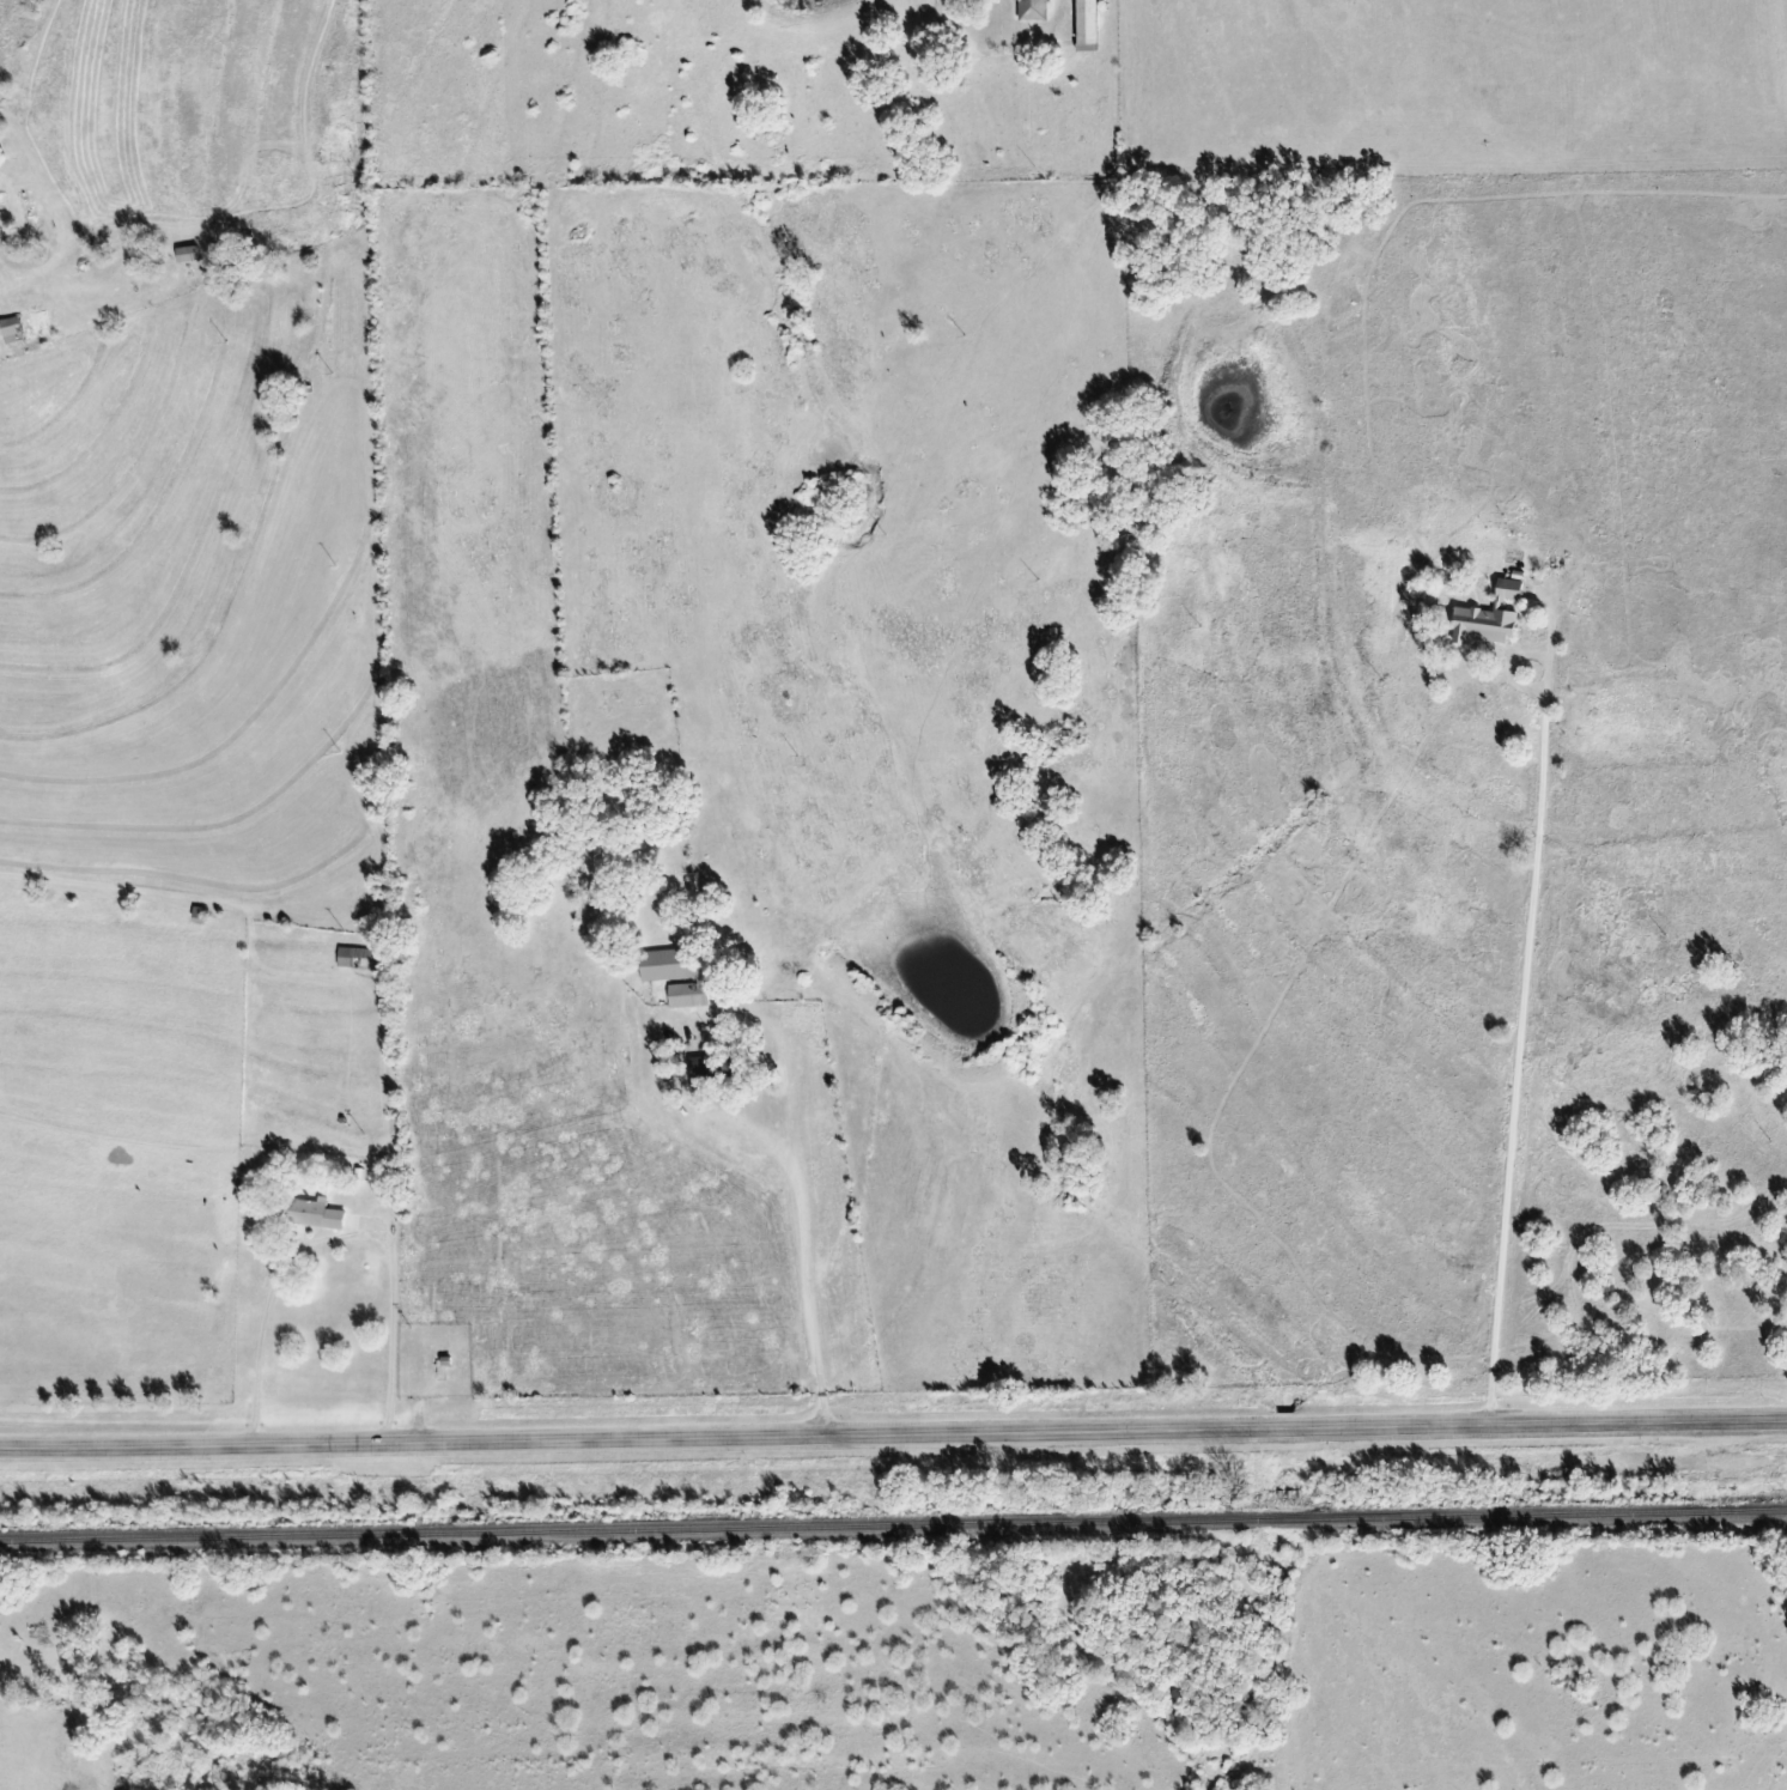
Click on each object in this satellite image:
building: (1037, 10)
road: (1057, 19)
building: (1093, 25)
building: (30, 327)
building: (1487, 617)
building: (671, 964)
building: (692, 995)
road: (1521, 1005)
building: (717, 1067)
road: (804, 1151)
building: (317, 1213)
road: (286, 1214)
road: (893, 1436)
railway: (1550, 1515)
railway: (1291, 1519)
railway: (634, 1530)

